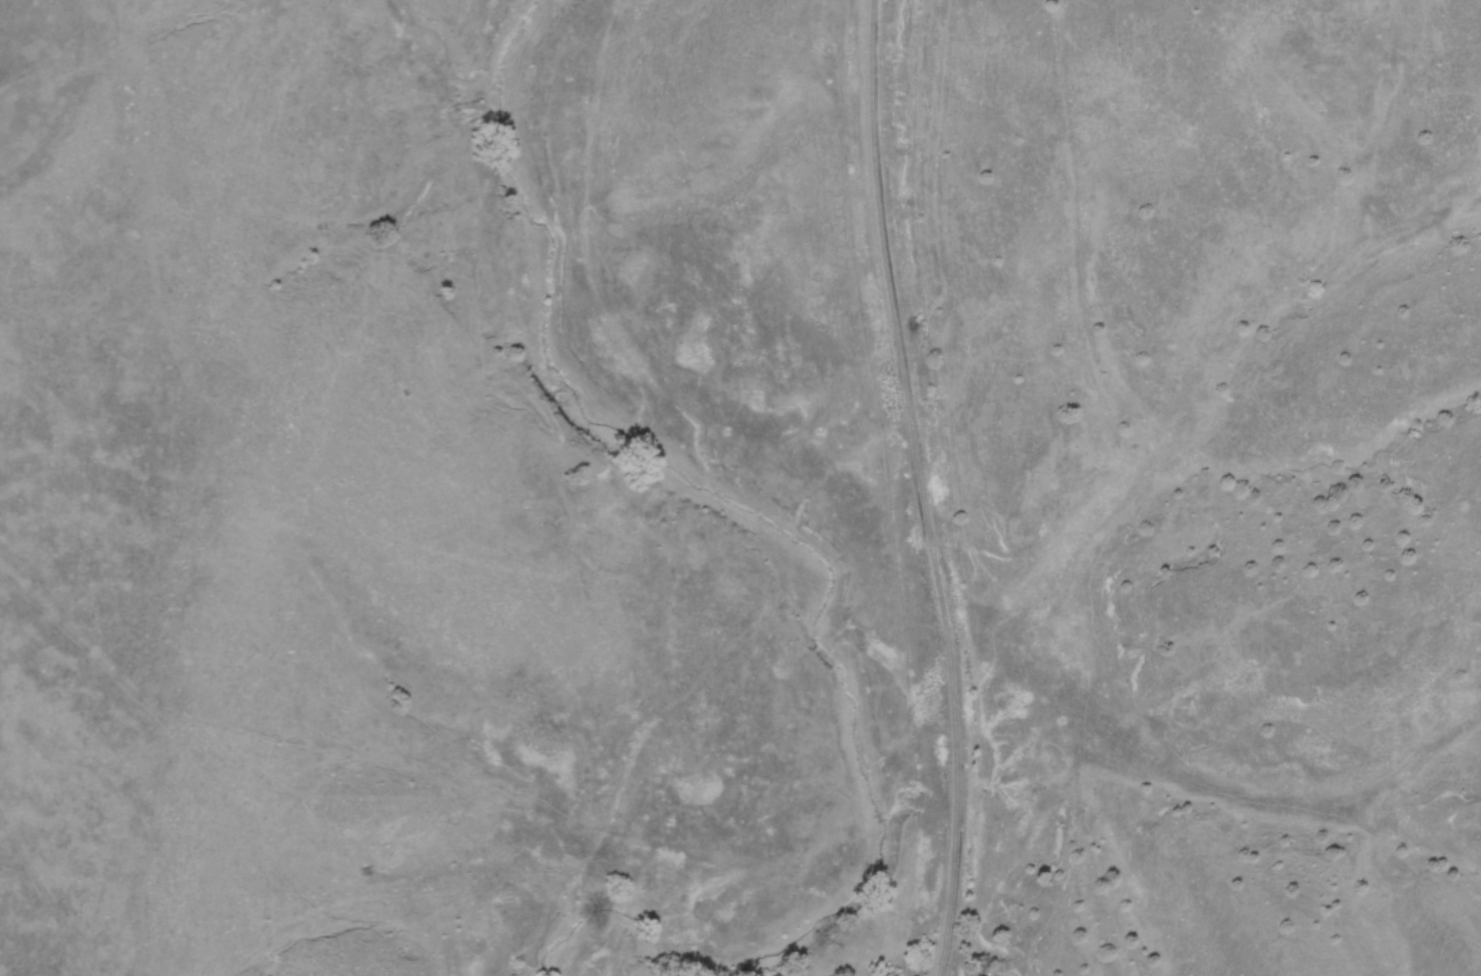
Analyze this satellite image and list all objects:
railway: (908, 486)

